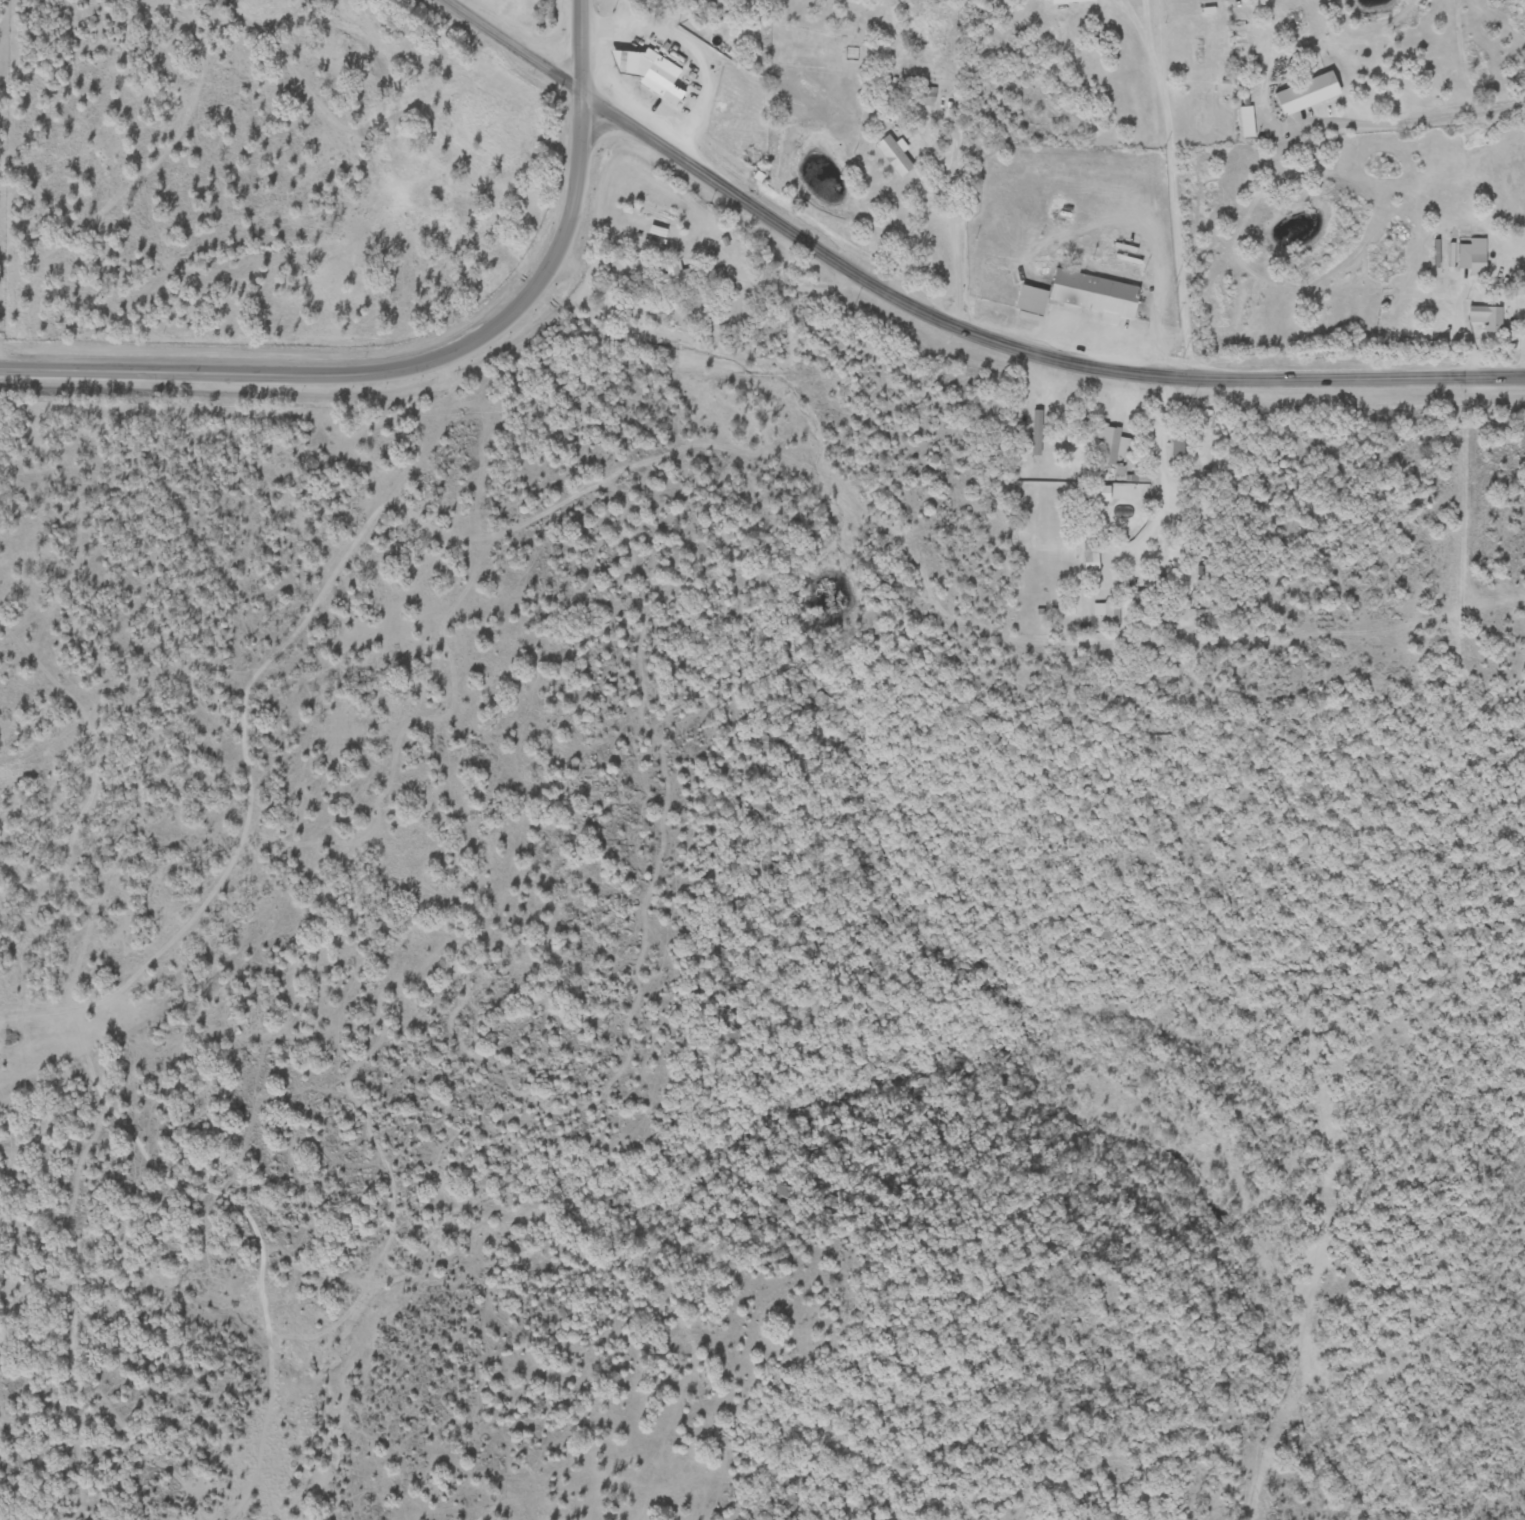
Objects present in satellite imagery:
building: (1071, 2)
building: (719, 10)
road: (694, 44)
road: (510, 49)
gas station: (631, 60)
building: (1192, 60)
building: (664, 72)
road: (1103, 82)
building: (1307, 94)
road: (1411, 121)
building: (894, 157)
road: (1197, 170)
road: (1046, 235)
road: (1360, 251)
building: (1473, 257)
road: (951, 262)
building: (673, 276)
road: (787, 285)
building: (1523, 287)
road: (1157, 293)
building: (1082, 295)
road: (942, 317)
building: (1488, 319)
road: (427, 360)
road: (1441, 372)
building: (1037, 434)
building: (1108, 443)
building: (1178, 448)
building: (1091, 557)
building: (1107, 613)

